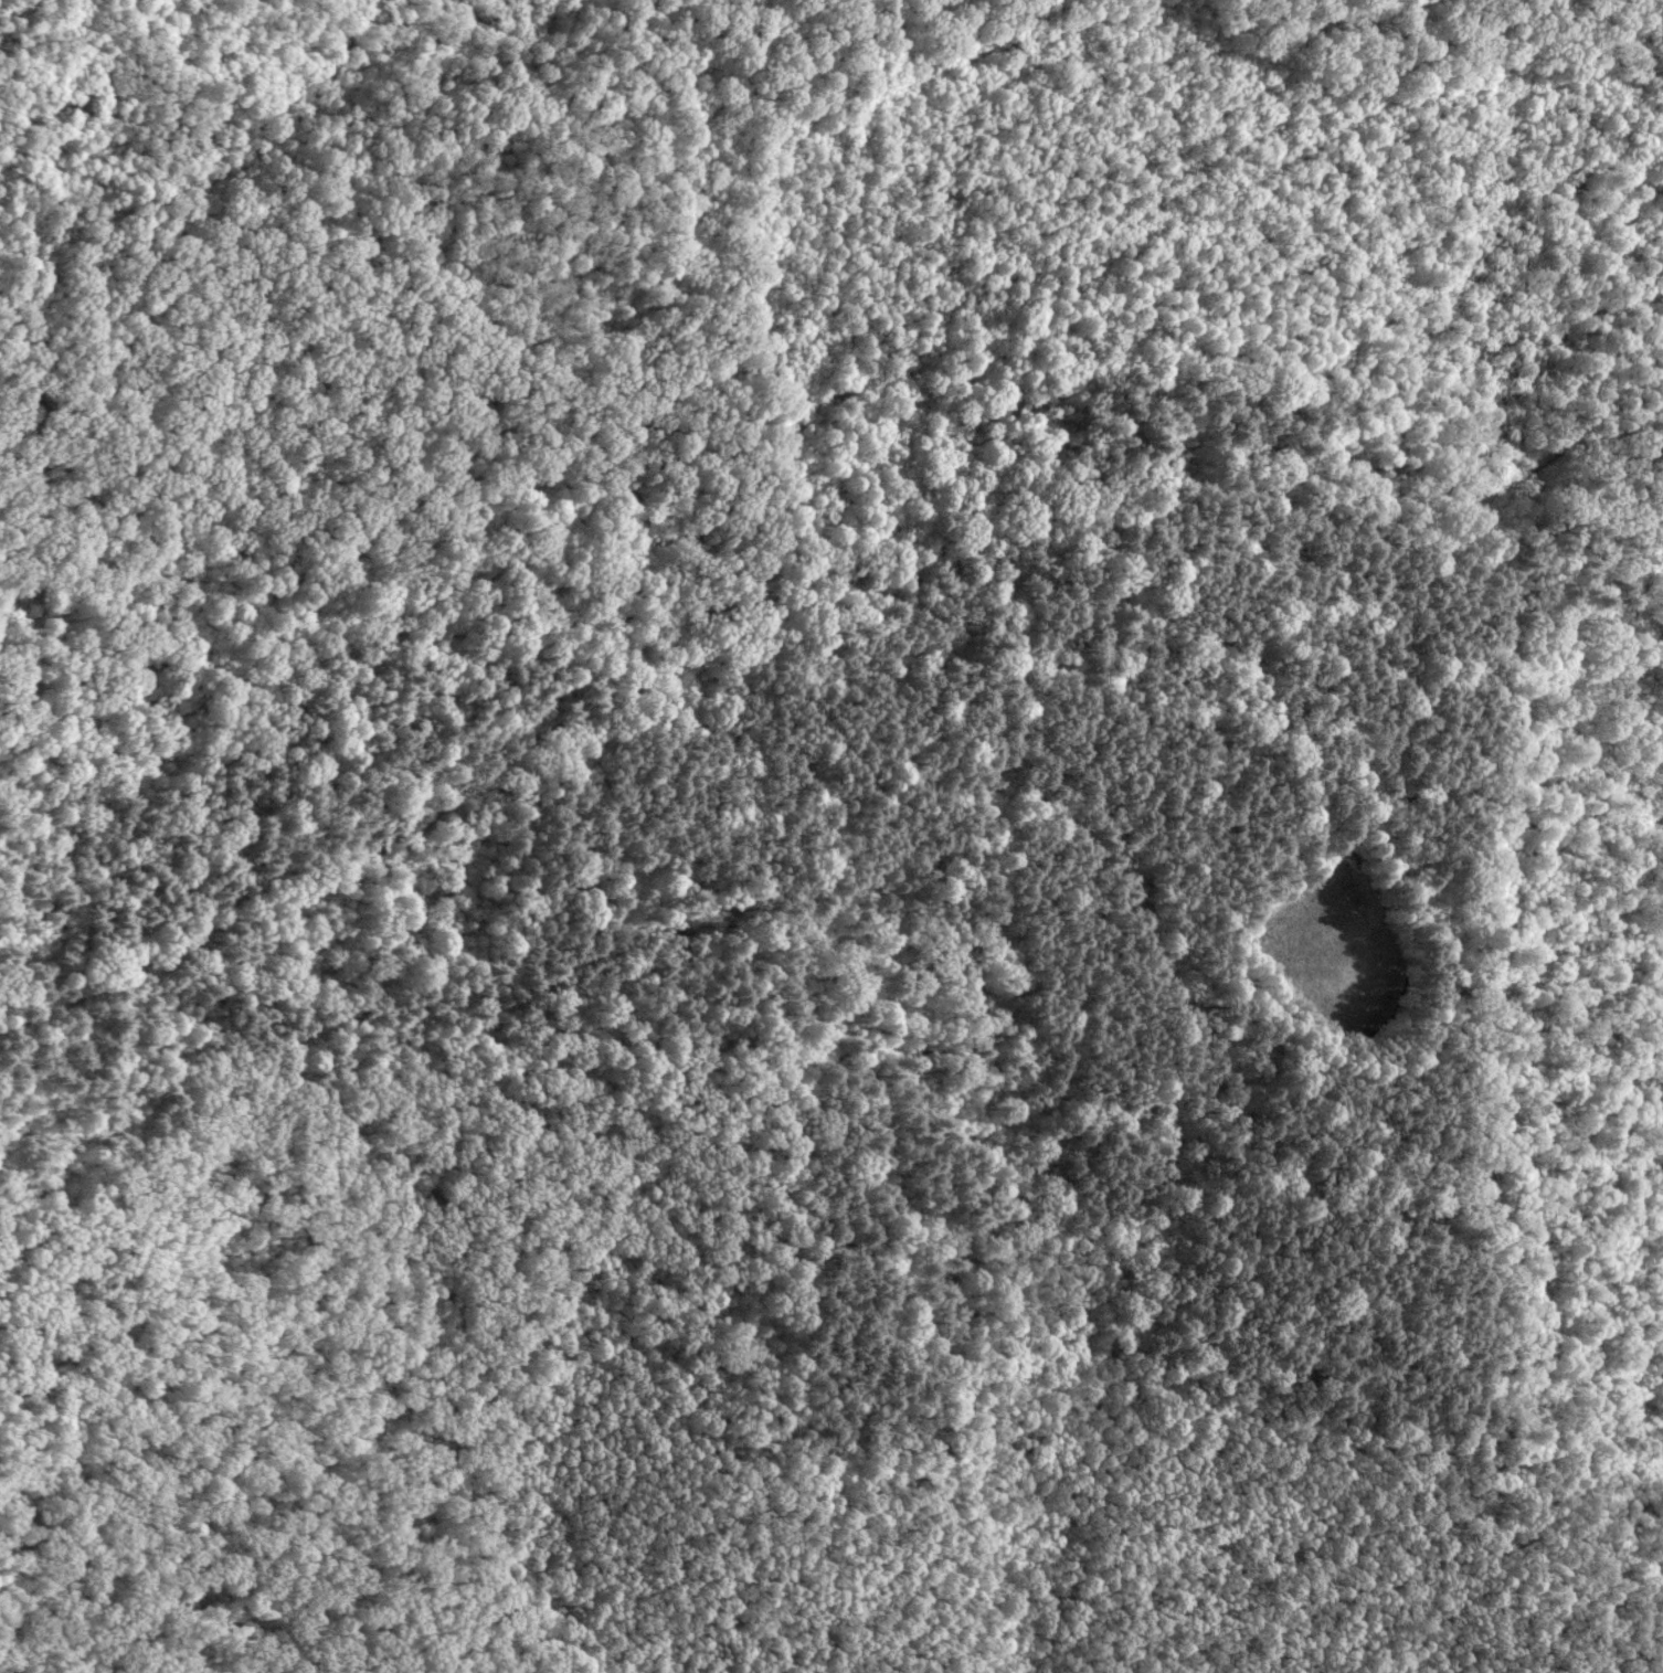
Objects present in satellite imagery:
road: (963, 525)

